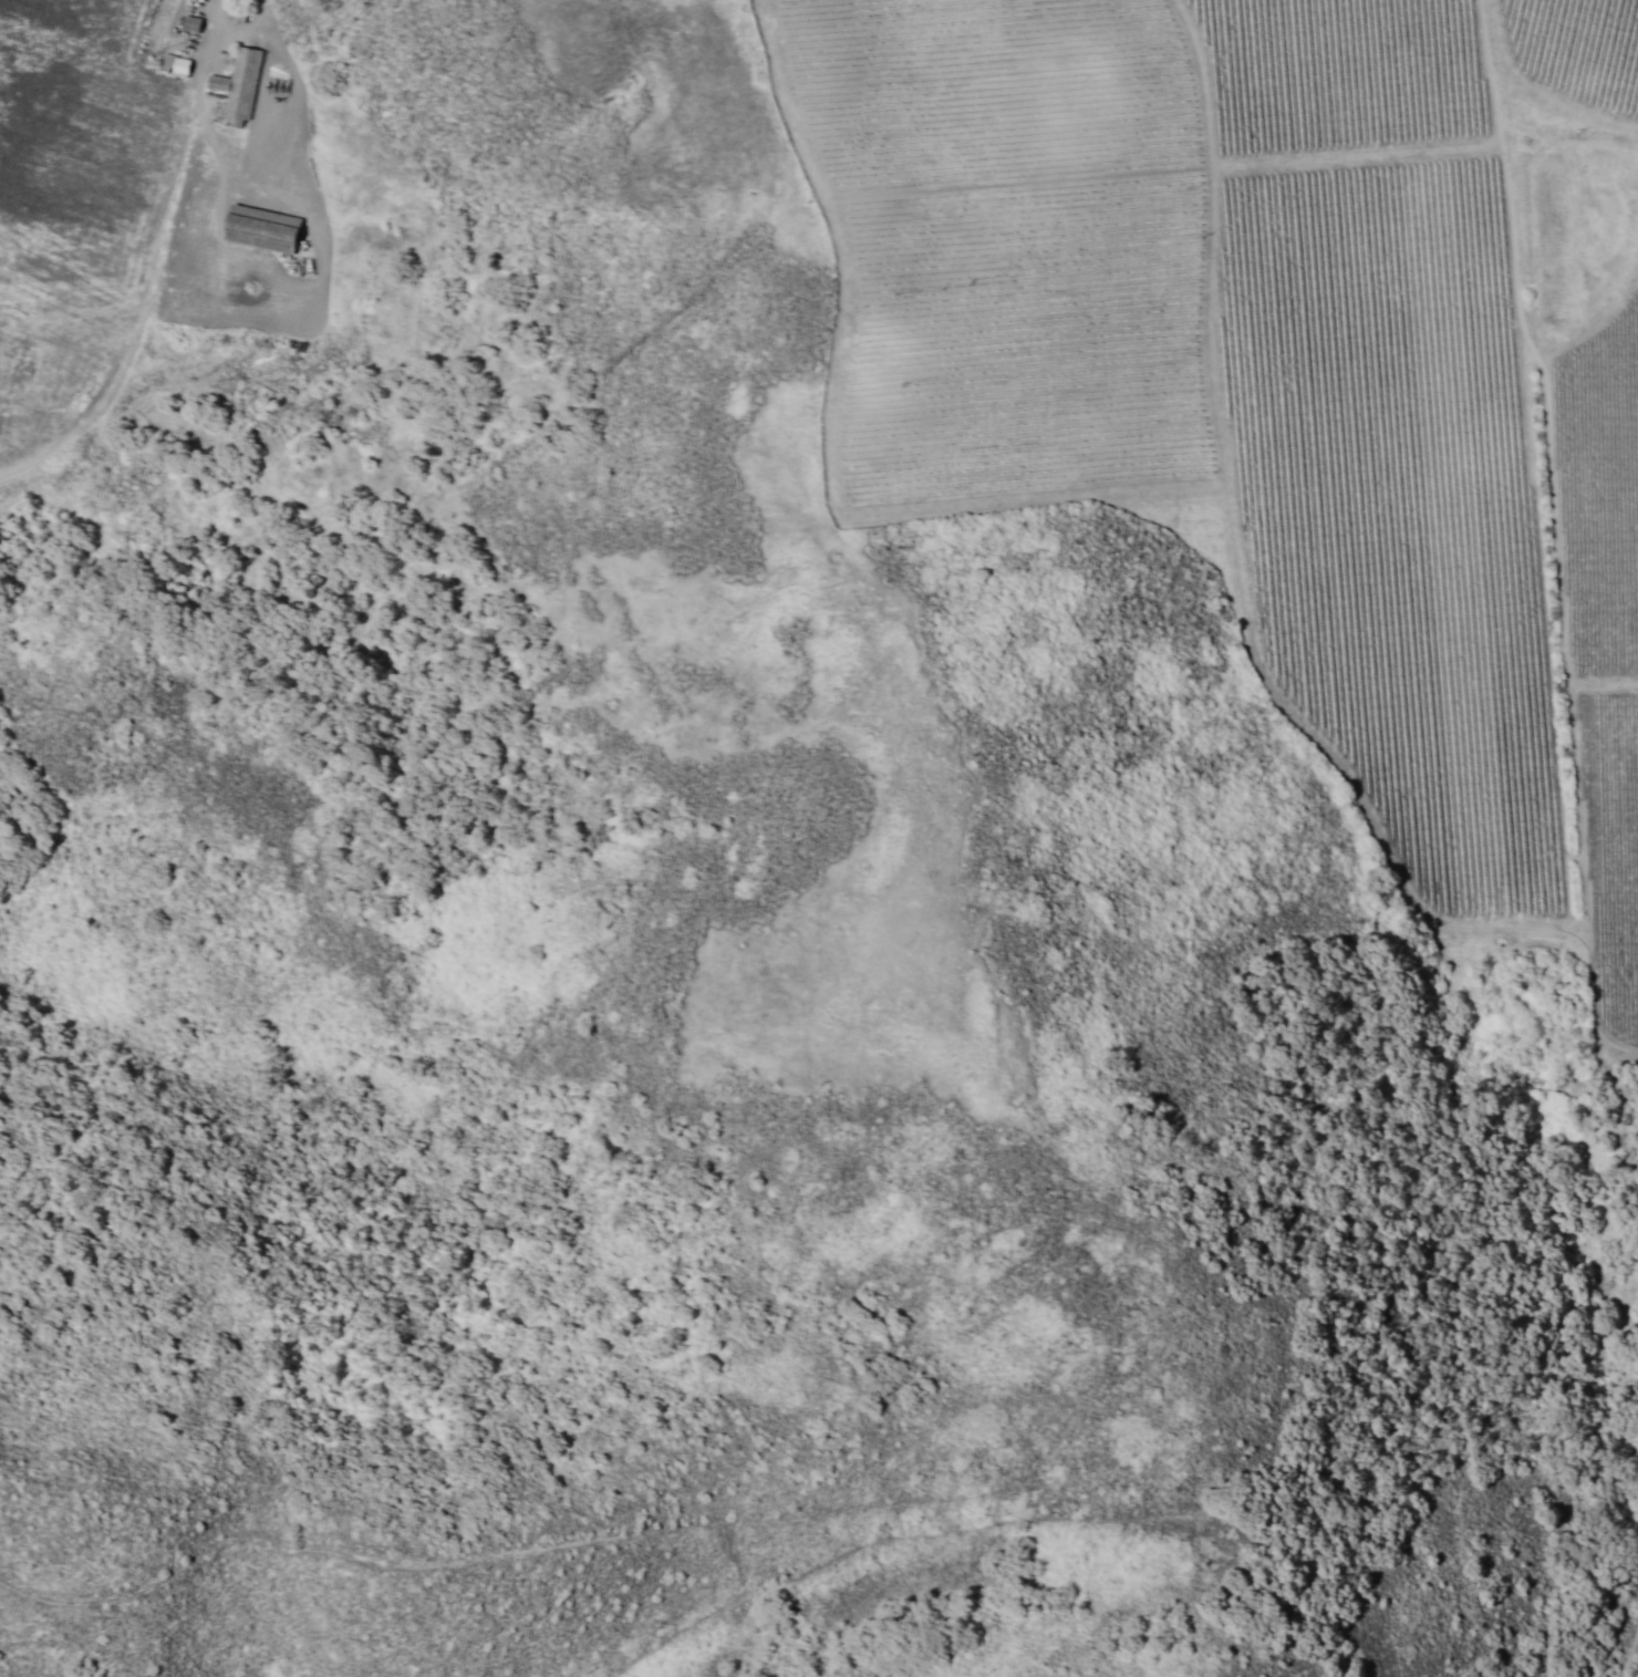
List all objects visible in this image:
road: (498, 2)
building: (187, 23)
building: (177, 64)
building: (236, 85)
crop: (91, 145)
building: (257, 228)
crop: (1294, 360)

